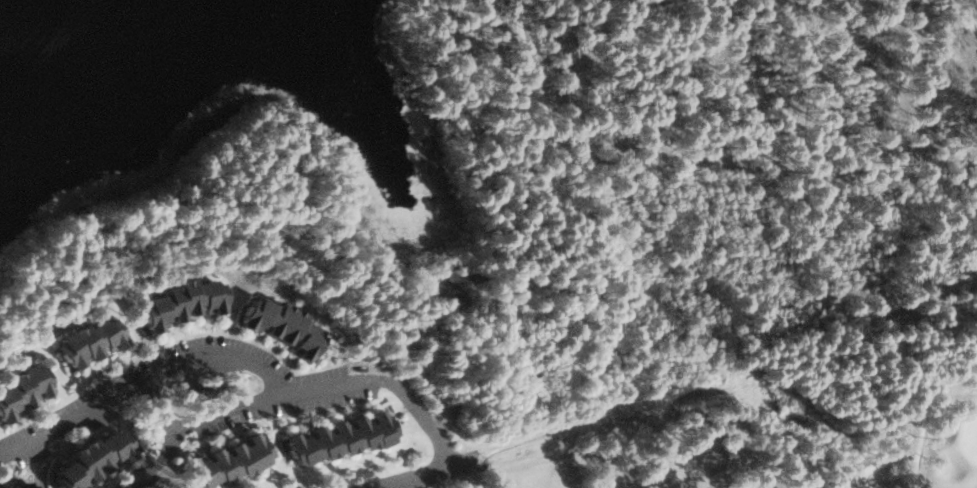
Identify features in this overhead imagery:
park: (448, 127)
building: (184, 302)
building: (285, 326)
building: (91, 340)
road: (140, 374)
road: (333, 387)
building: (23, 391)
road: (434, 395)
road: (180, 430)
building: (344, 437)
park: (713, 444)
road: (897, 450)
building: (95, 459)
building: (229, 461)
road: (641, 474)
road: (419, 477)
road: (447, 477)
building: (21, 484)

